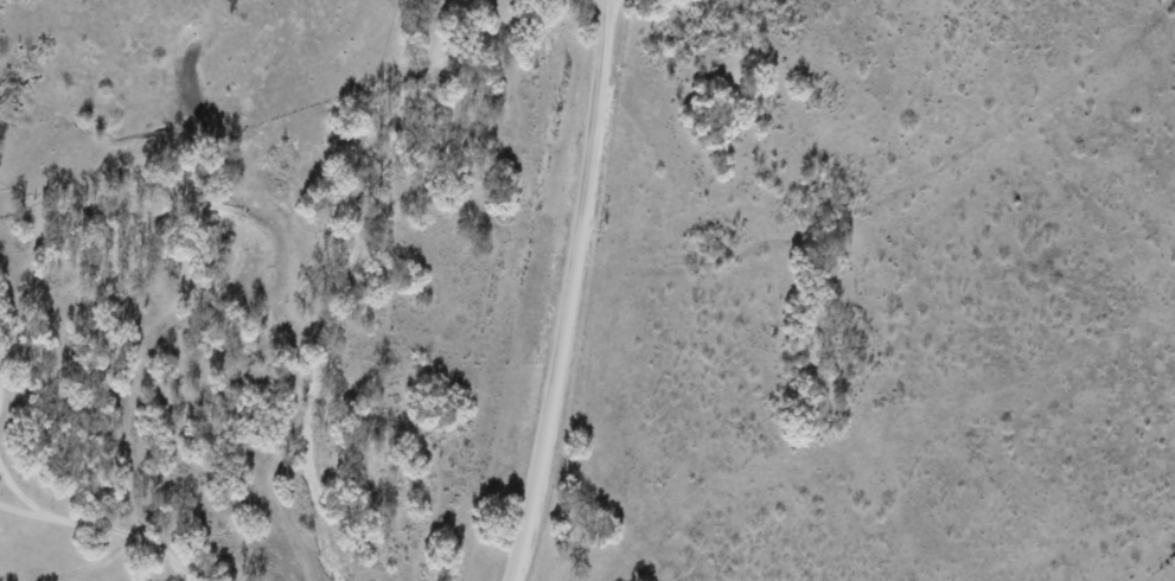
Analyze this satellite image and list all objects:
road: (567, 292)
road: (18, 494)
road: (20, 511)
road: (122, 532)

